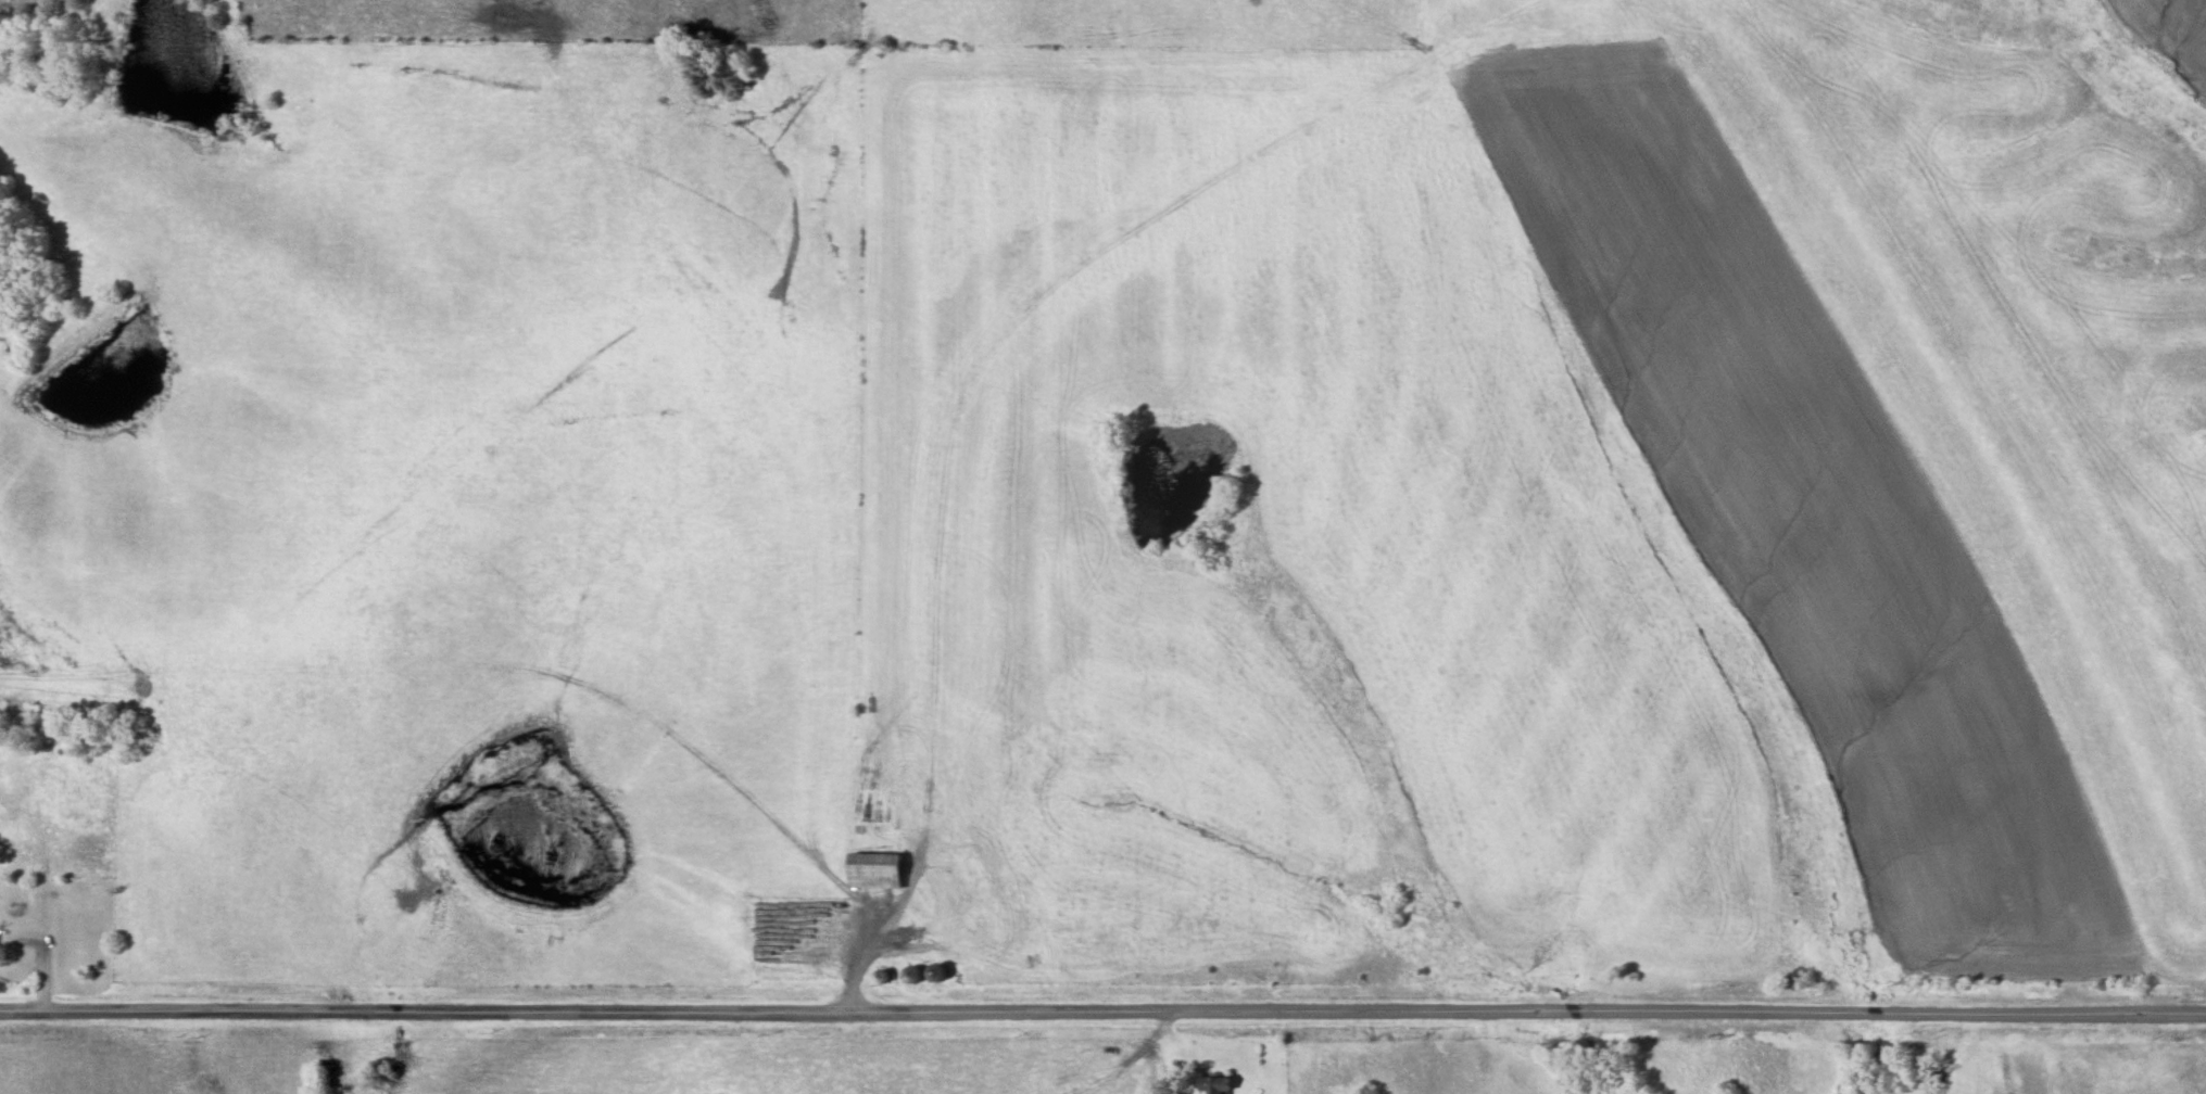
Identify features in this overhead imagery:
building: (870, 869)
building: (928, 971)
building: (904, 974)
road: (1102, 1010)
building: (1199, 1080)

